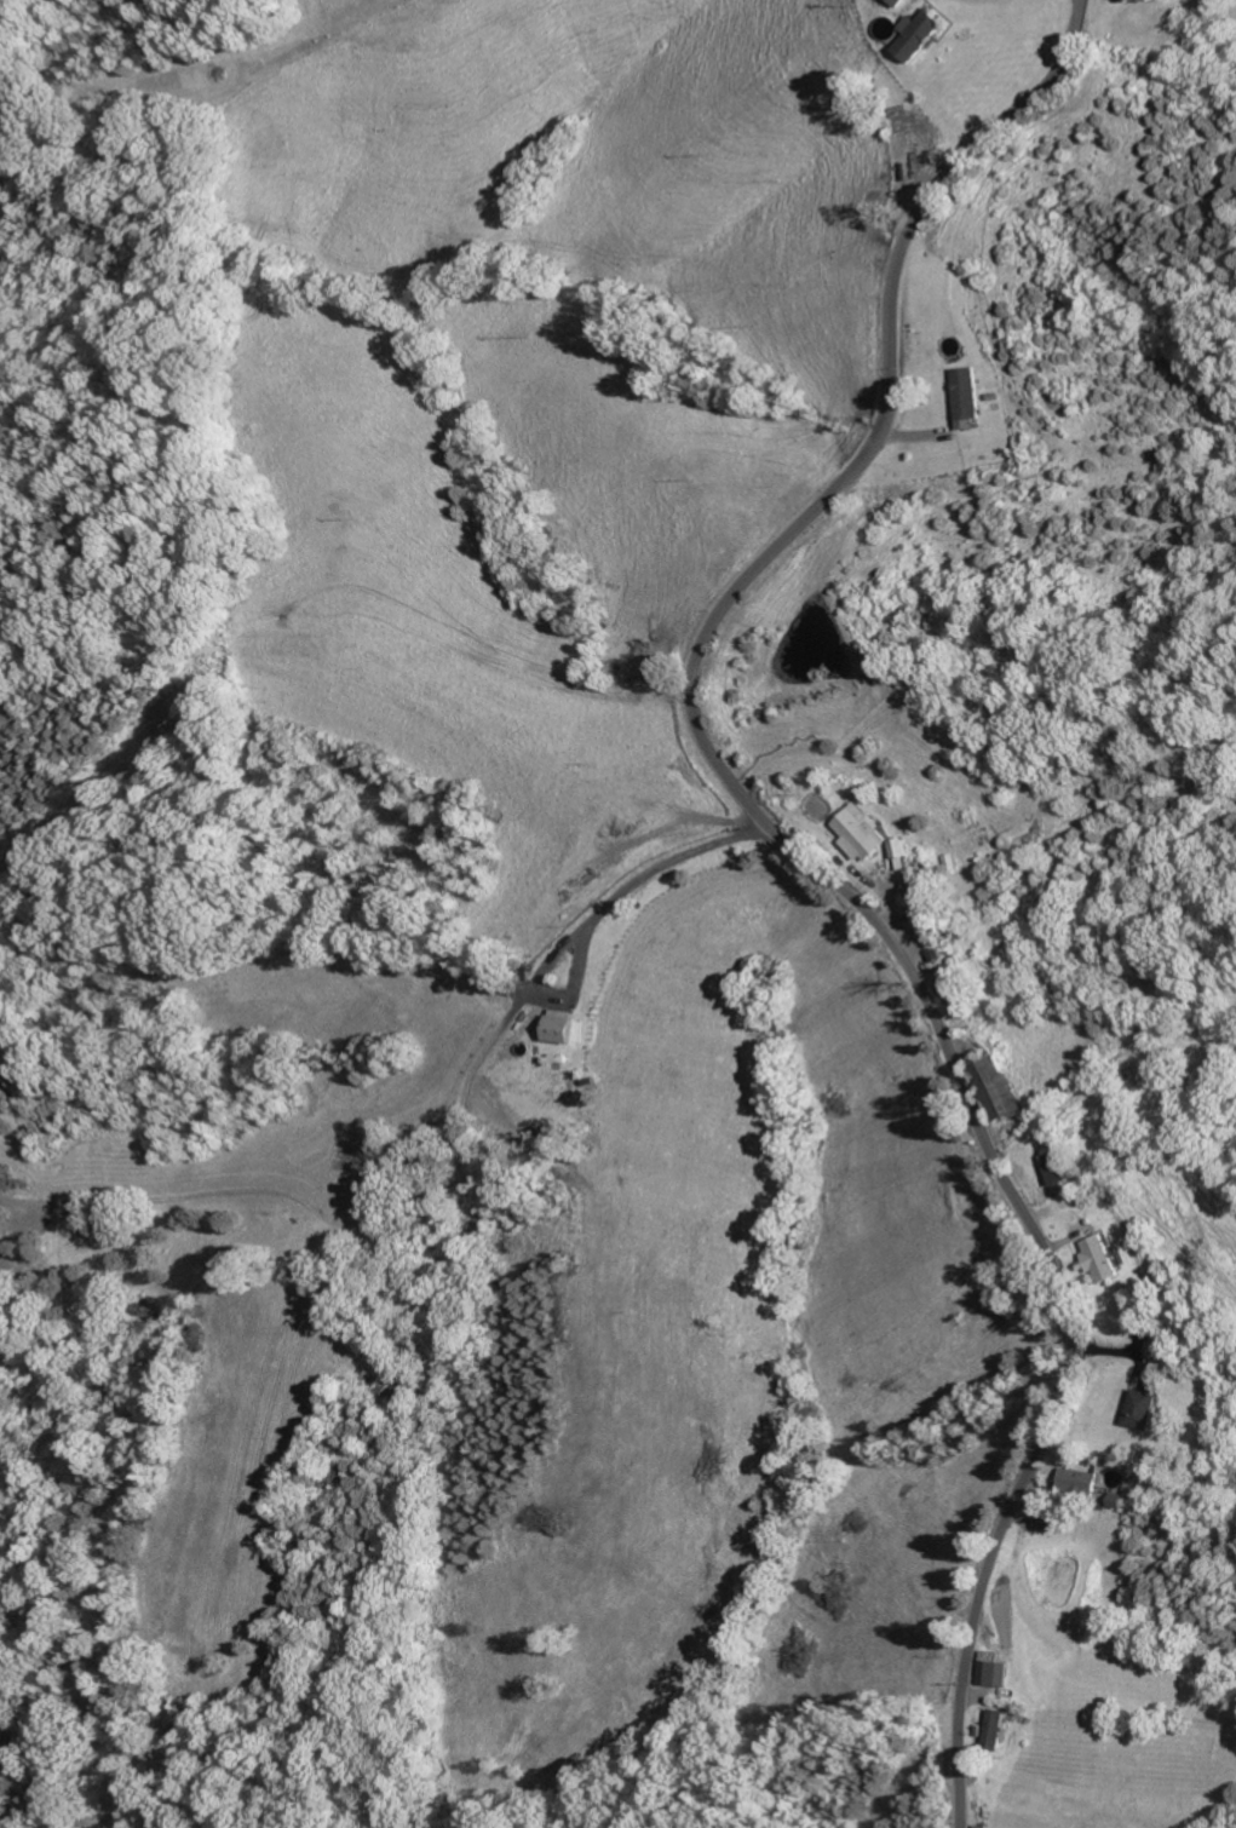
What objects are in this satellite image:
building: (1151, 0)
building: (901, 2)
building: (924, 34)
building: (970, 392)
building: (867, 830)
building: (908, 852)
road: (820, 868)
road: (596, 916)
building: (564, 1027)
road: (426, 1040)
building: (1005, 1087)
building: (1062, 1167)
building: (1104, 1258)
building: (1166, 1351)
building: (1146, 1409)
building: (1080, 1481)
building: (1052, 1521)
building: (999, 1673)
building: (1001, 1728)
building: (985, 1826)

